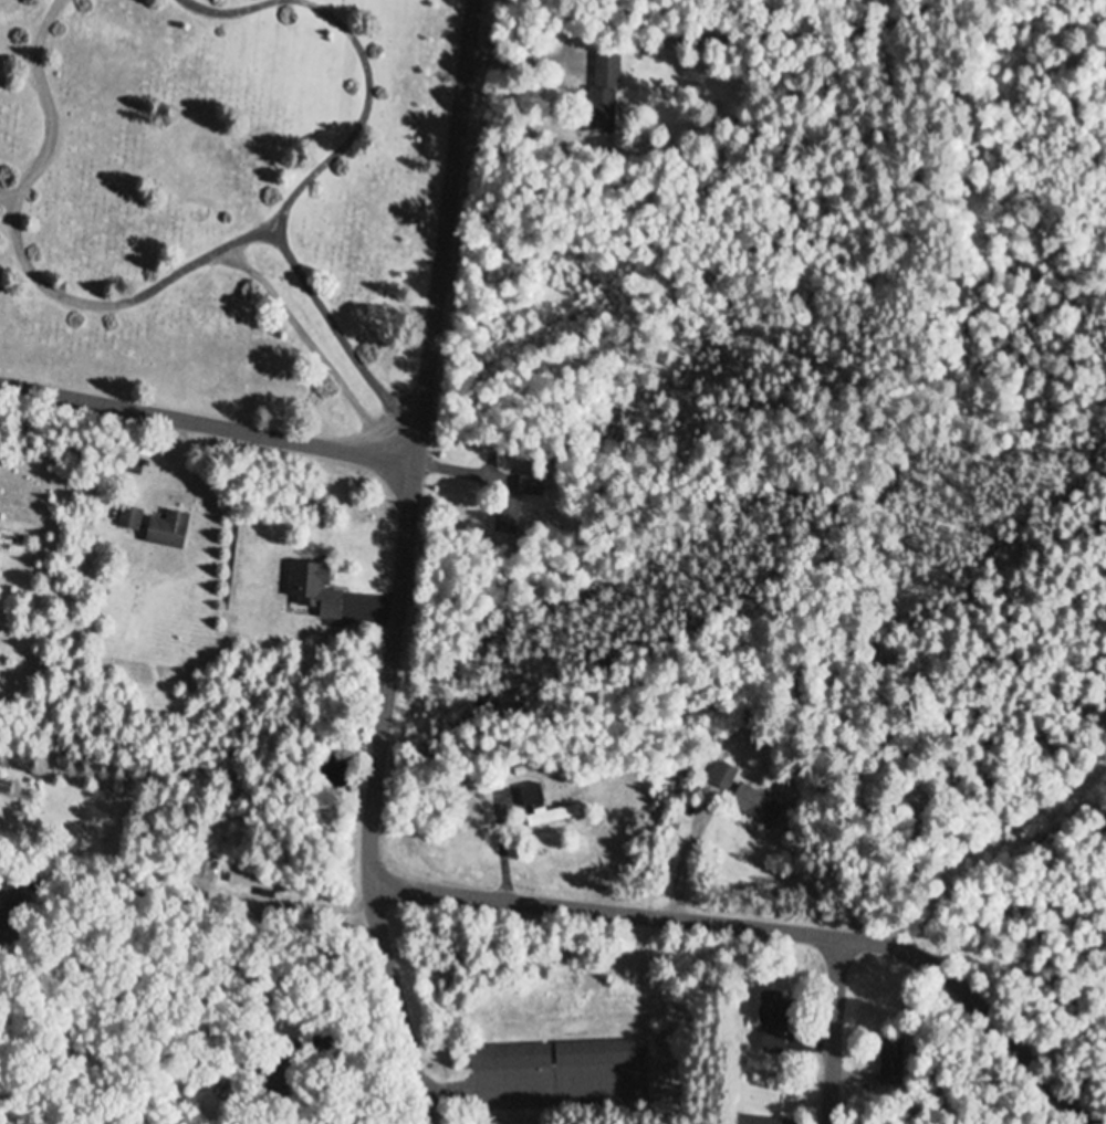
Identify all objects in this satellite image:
building: (604, 93)
park: (225, 202)
road: (207, 424)
road: (416, 442)
building: (531, 485)
building: (507, 517)
building: (129, 521)
building: (168, 532)
building: (314, 589)
building: (721, 775)
building: (755, 806)
building: (544, 809)
road: (185, 850)
building: (205, 869)
building: (255, 882)
building: (10, 913)
road: (768, 929)
road: (396, 1005)
building: (773, 1022)
road: (828, 1030)
building: (552, 1055)
building: (891, 1062)
building: (276, 1074)
building: (757, 1121)

